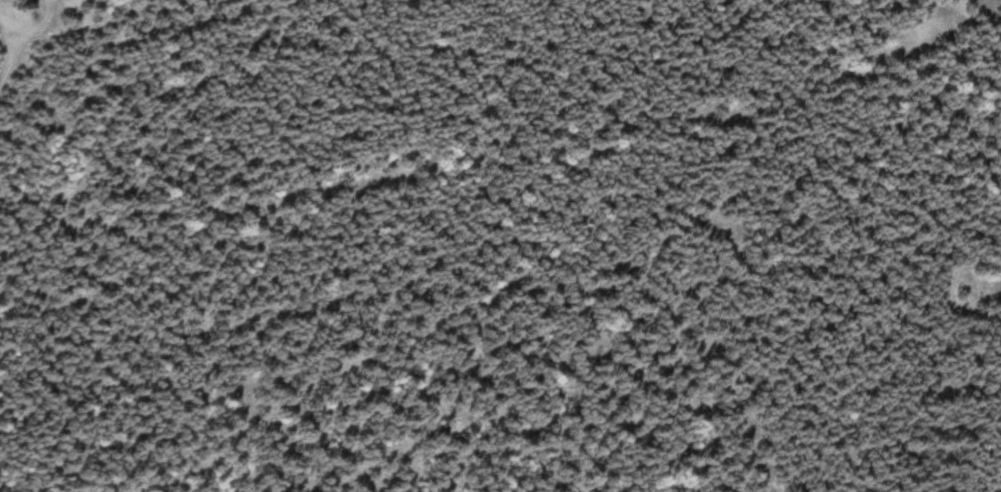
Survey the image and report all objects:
petroleum well: (29, 7)
road: (15, 41)

